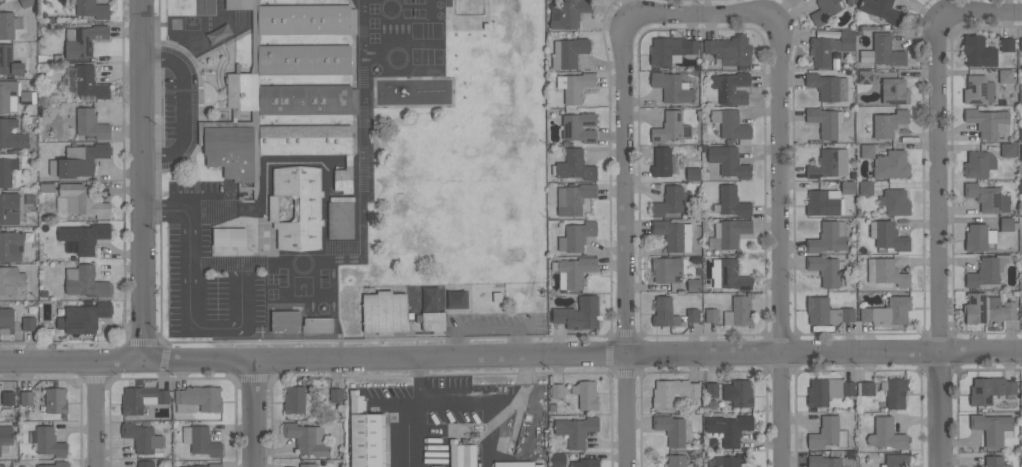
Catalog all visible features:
building: (238, 4)
building: (91, 8)
building: (880, 9)
building: (825, 10)
building: (570, 13)
building: (304, 19)
building: (7, 25)
building: (83, 40)
building: (1007, 44)
building: (1021, 44)
building: (829, 48)
building: (671, 50)
building: (729, 50)
building: (883, 51)
building: (978, 51)
building: (568, 52)
building: (304, 60)
building: (9, 61)
building: (1005, 75)
building: (865, 77)
building: (89, 83)
building: (574, 86)
building: (828, 86)
building: (673, 87)
building: (731, 88)
building: (978, 90)
building: (242, 91)
building: (894, 91)
building: (8, 95)
building: (27, 97)
building: (1020, 97)
building: (305, 100)
road: (182, 107)
building: (825, 121)
building: (989, 122)
building: (888, 123)
building: (90, 124)
building: (730, 124)
building: (579, 127)
building: (671, 128)
building: (1020, 134)
building: (11, 135)
building: (305, 140)
building: (1009, 149)
building: (231, 151)
building: (867, 151)
building: (1020, 153)
building: (79, 160)
building: (662, 161)
building: (728, 161)
building: (829, 163)
building: (979, 164)
building: (892, 165)
building: (573, 166)
building: (7, 168)
road: (124, 170)
road: (159, 170)
building: (692, 171)
road: (625, 173)
road: (140, 181)
building: (848, 187)
building: (1020, 187)
building: (865, 188)
building: (987, 198)
building: (83, 200)
building: (574, 200)
building: (669, 201)
road: (938, 201)
building: (731, 202)
building: (824, 202)
building: (895, 202)
building: (297, 207)
building: (9, 208)
road: (186, 215)
building: (340, 218)
building: (1008, 224)
building: (729, 233)
building: (673, 234)
building: (229, 236)
building: (576, 236)
building: (888, 236)
building: (83, 237)
building: (828, 237)
building: (978, 237)
road: (779, 238)
building: (11, 246)
building: (666, 269)
building: (826, 269)
building: (988, 270)
building: (574, 271)
building: (886, 273)
building: (728, 275)
building: (11, 280)
building: (85, 282)
building: (694, 285)
building: (456, 299)
building: (429, 301)
building: (987, 309)
building: (664, 312)
building: (738, 312)
building: (826, 312)
building: (888, 312)
building: (384, 313)
building: (578, 314)
building: (692, 315)
building: (711, 315)
building: (83, 317)
building: (6, 320)
building: (433, 321)
building: (285, 322)
building: (29, 324)
road: (241, 325)
building: (317, 325)
road: (141, 341)
road: (511, 358)
building: (865, 388)
building: (712, 390)
building: (990, 390)
building: (557, 391)
building: (827, 391)
building: (672, 392)
building: (895, 392)
building: (738, 393)
building: (586, 394)
building: (335, 395)
building: (7, 397)
building: (26, 398)
building: (141, 399)
building: (198, 399)
building: (55, 400)
building: (296, 400)
road: (468, 401)
road: (93, 414)
road: (254, 414)
building: (729, 428)
building: (993, 428)
building: (670, 429)
building: (576, 430)
building: (364, 433)
building: (827, 433)
building: (886, 434)
road: (417, 435)
building: (307, 438)
building: (6, 439)
building: (142, 439)
building: (200, 441)
building: (49, 442)
building: (463, 455)
building: (558, 459)
building: (730, 460)
building: (895, 460)
building: (676, 461)
building: (822, 461)
building: (994, 461)
building: (586, 463)
building: (56, 464)
building: (145, 464)
building: (215, 464)
building: (517, 464)
building: (2, 465)
building: (307, 465)
building: (850, 466)

